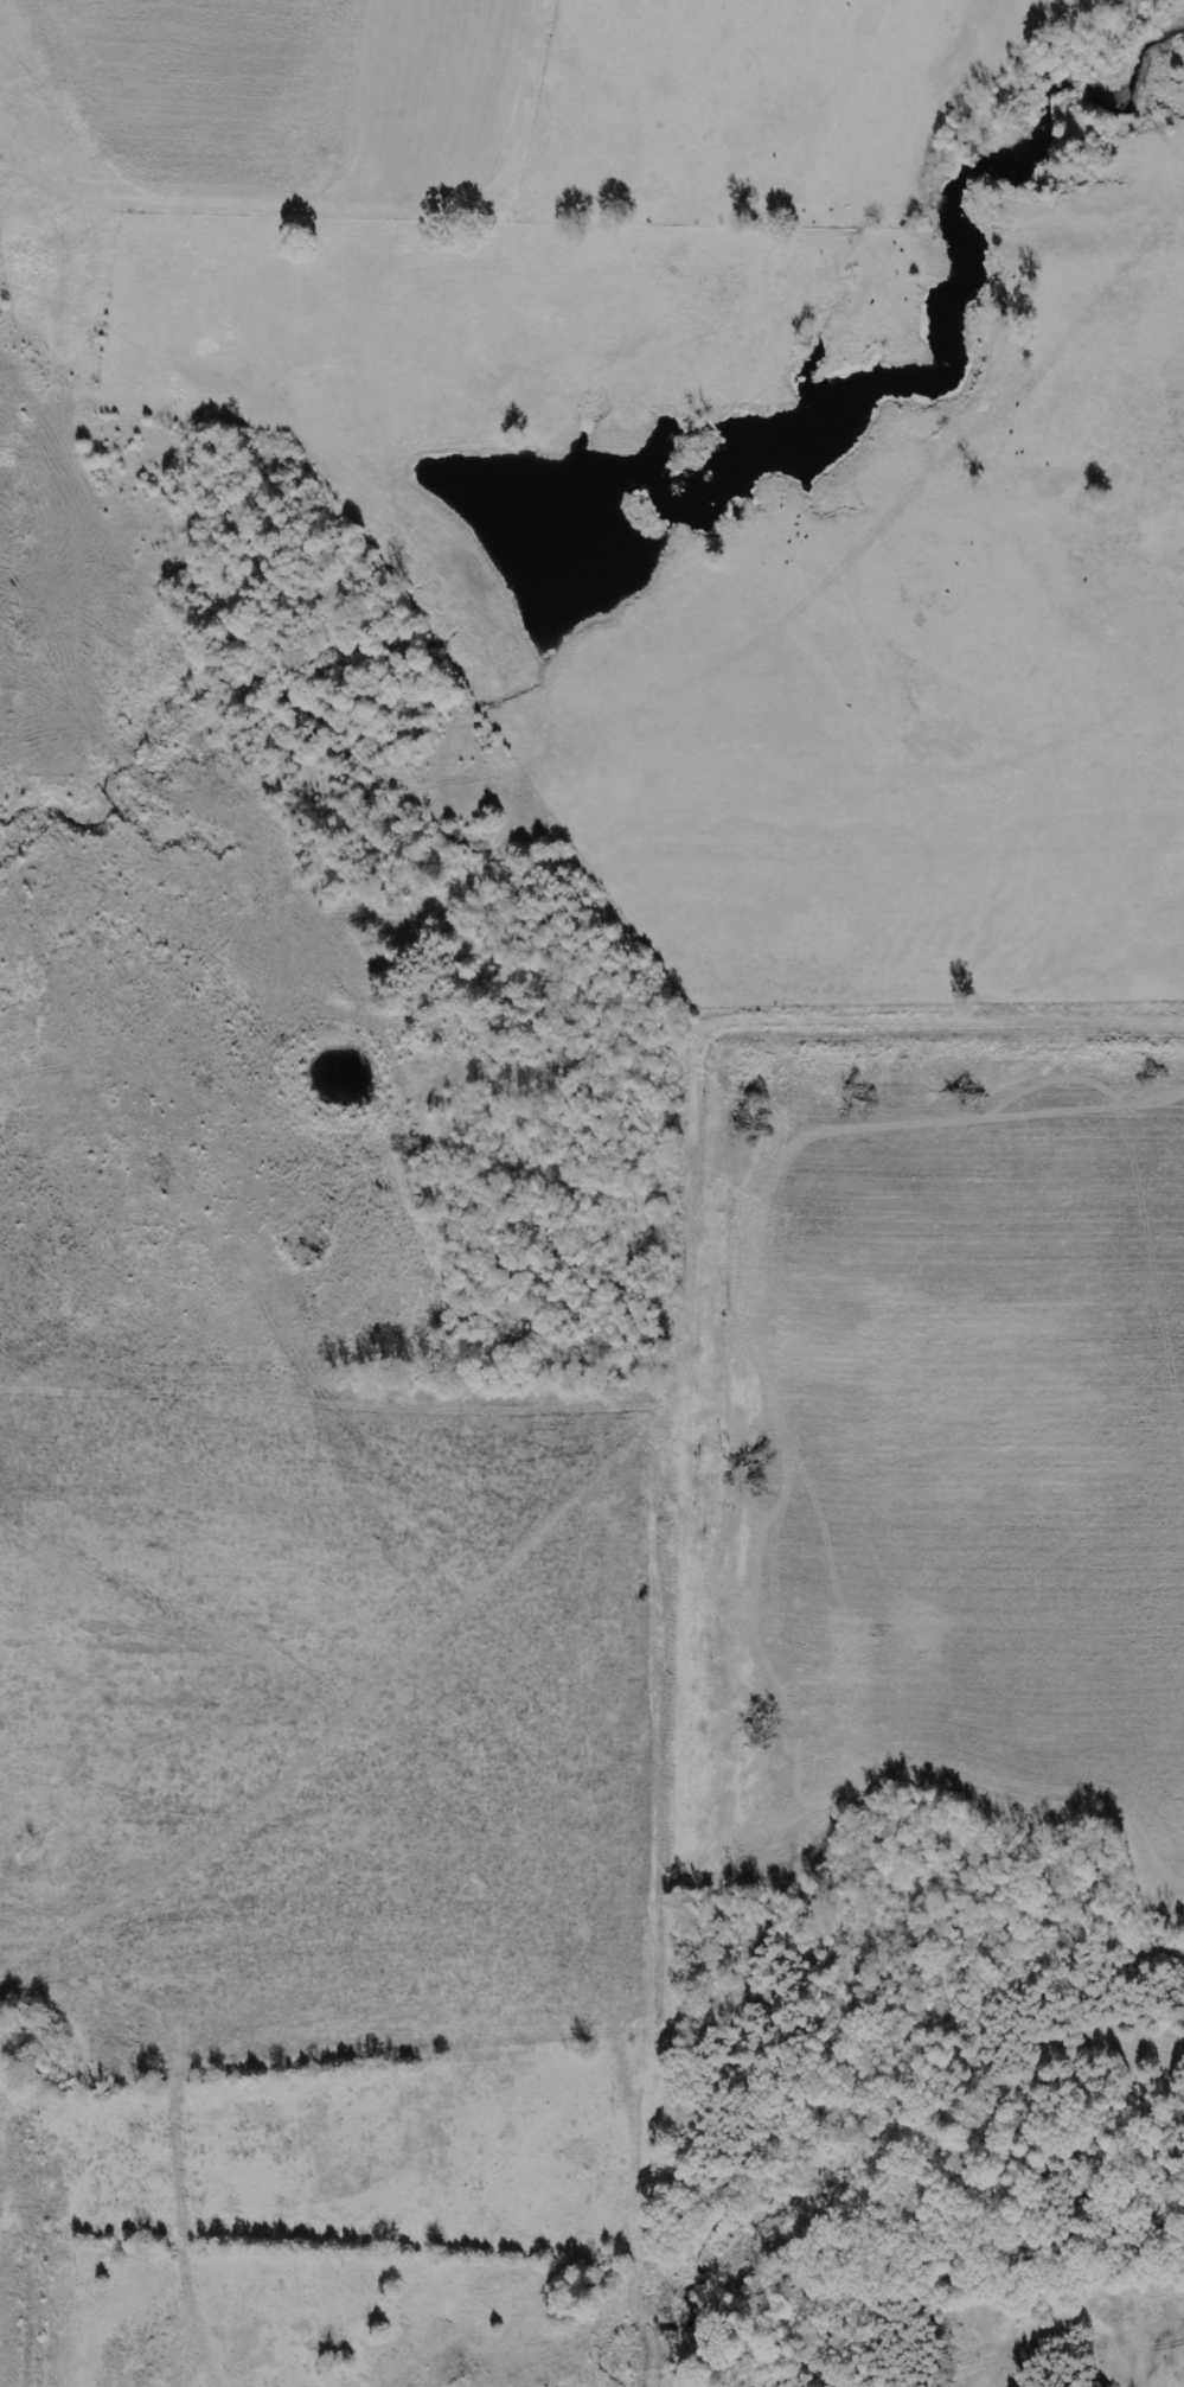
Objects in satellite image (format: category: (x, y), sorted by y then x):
road: (418, 1344)

